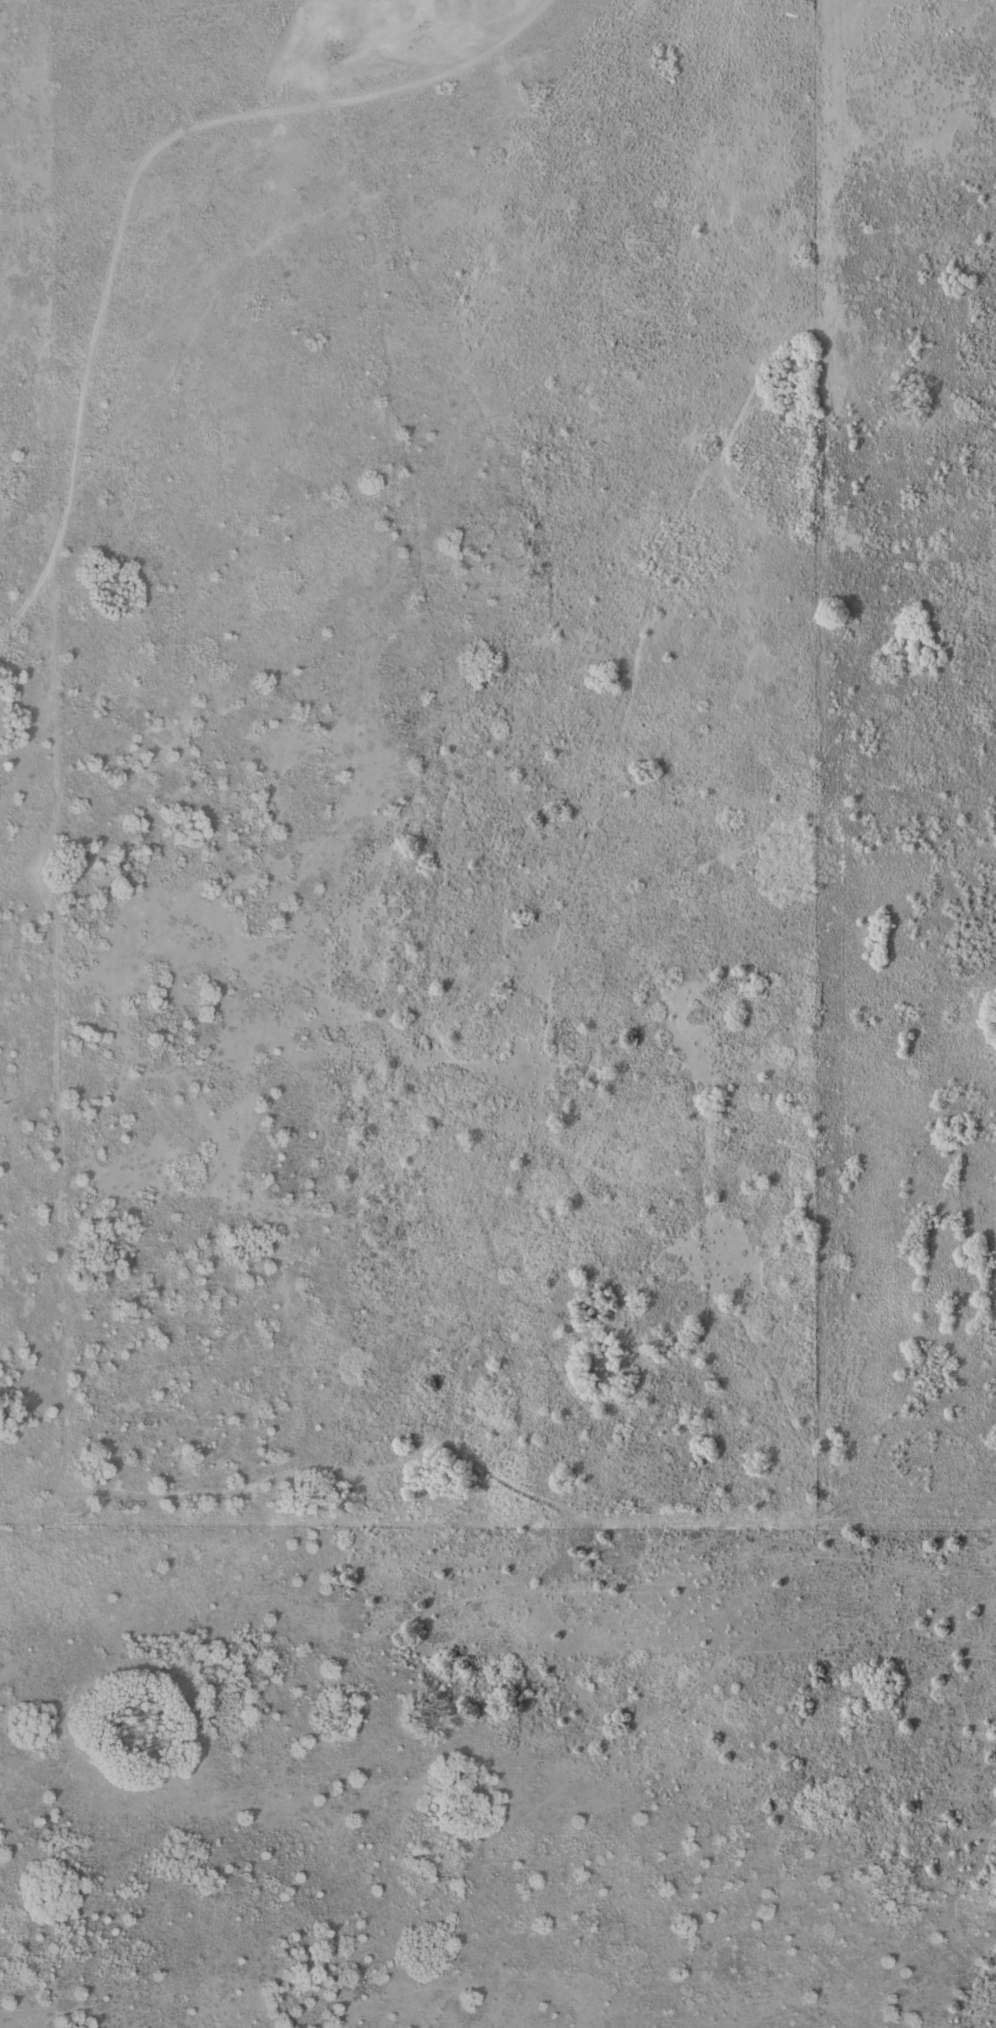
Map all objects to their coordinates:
power tower: (87, 1518)
power tower: (440, 1519)
power tower: (814, 1521)

